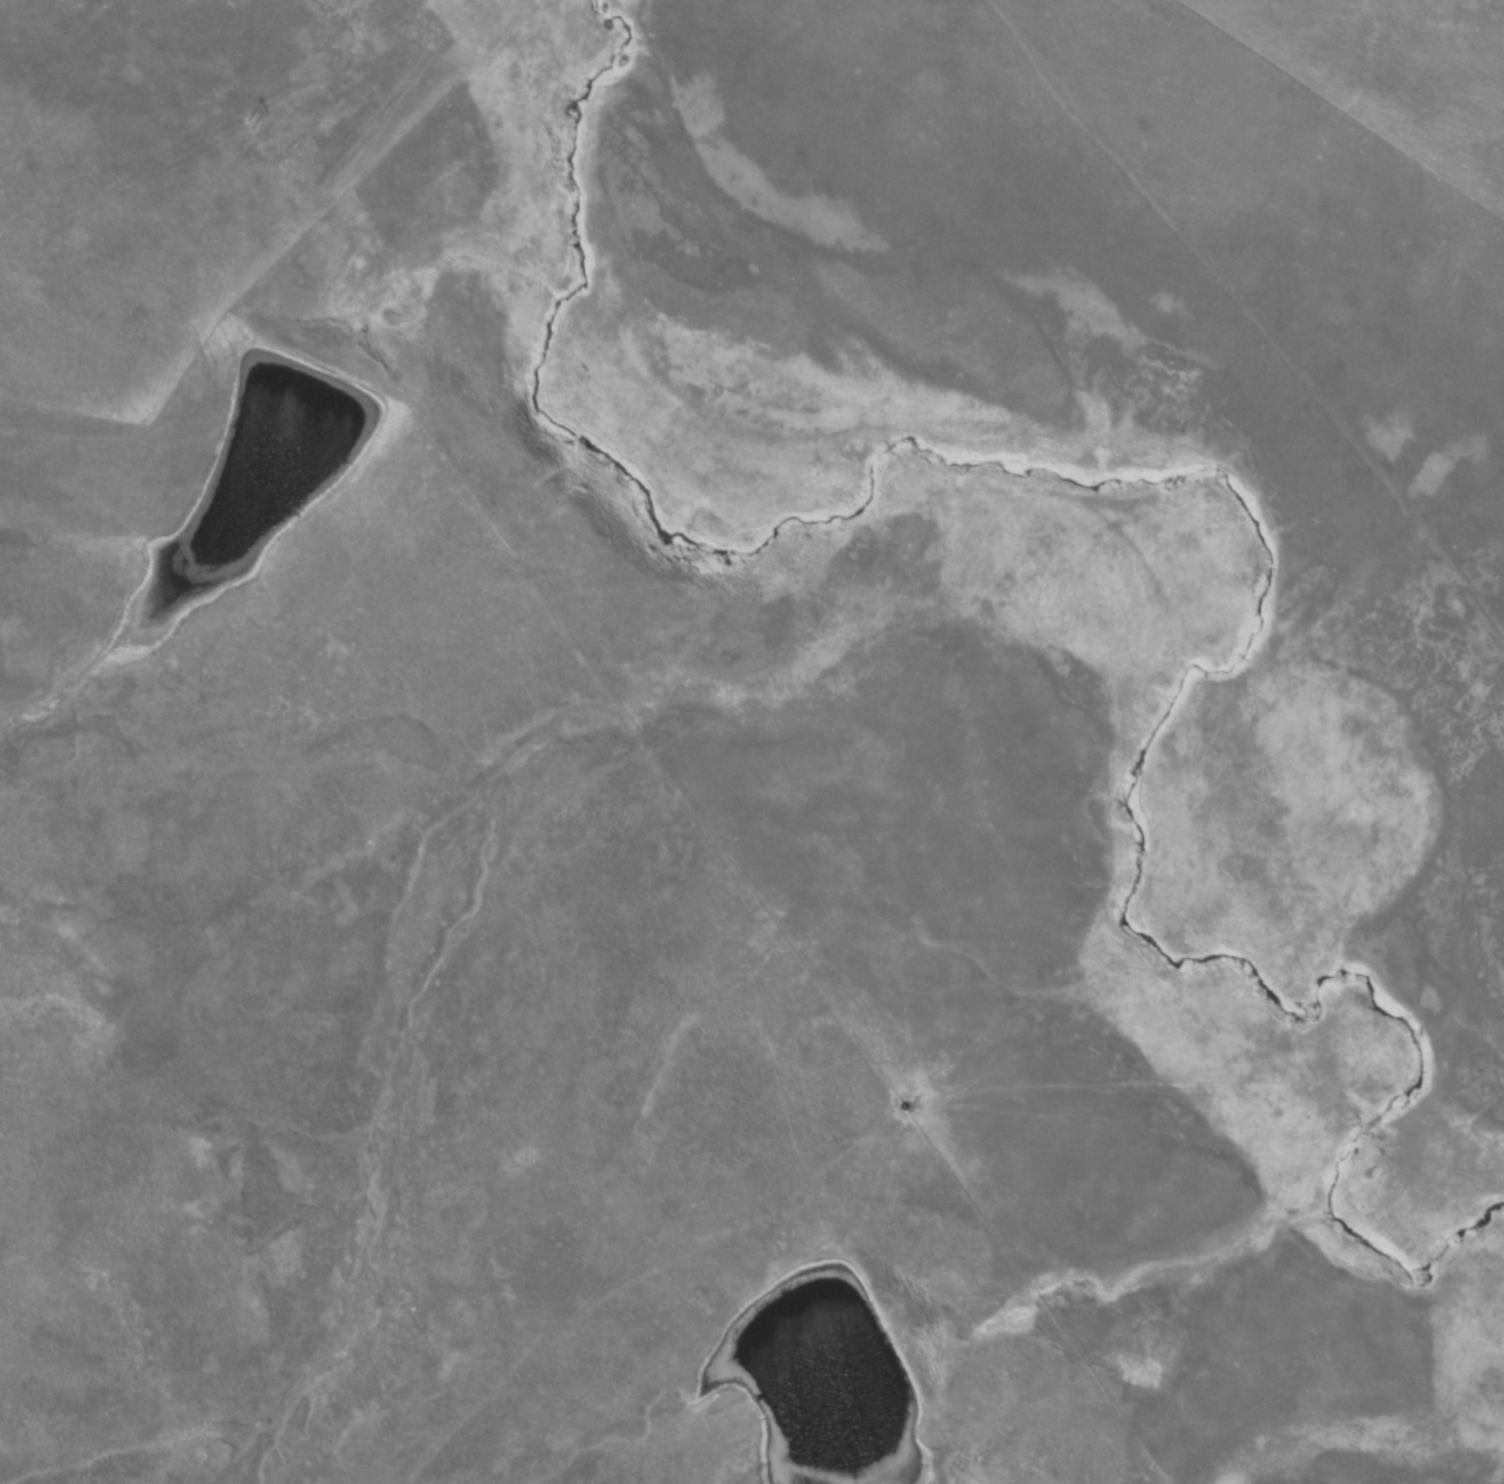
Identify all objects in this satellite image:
power tower: (247, 123)

